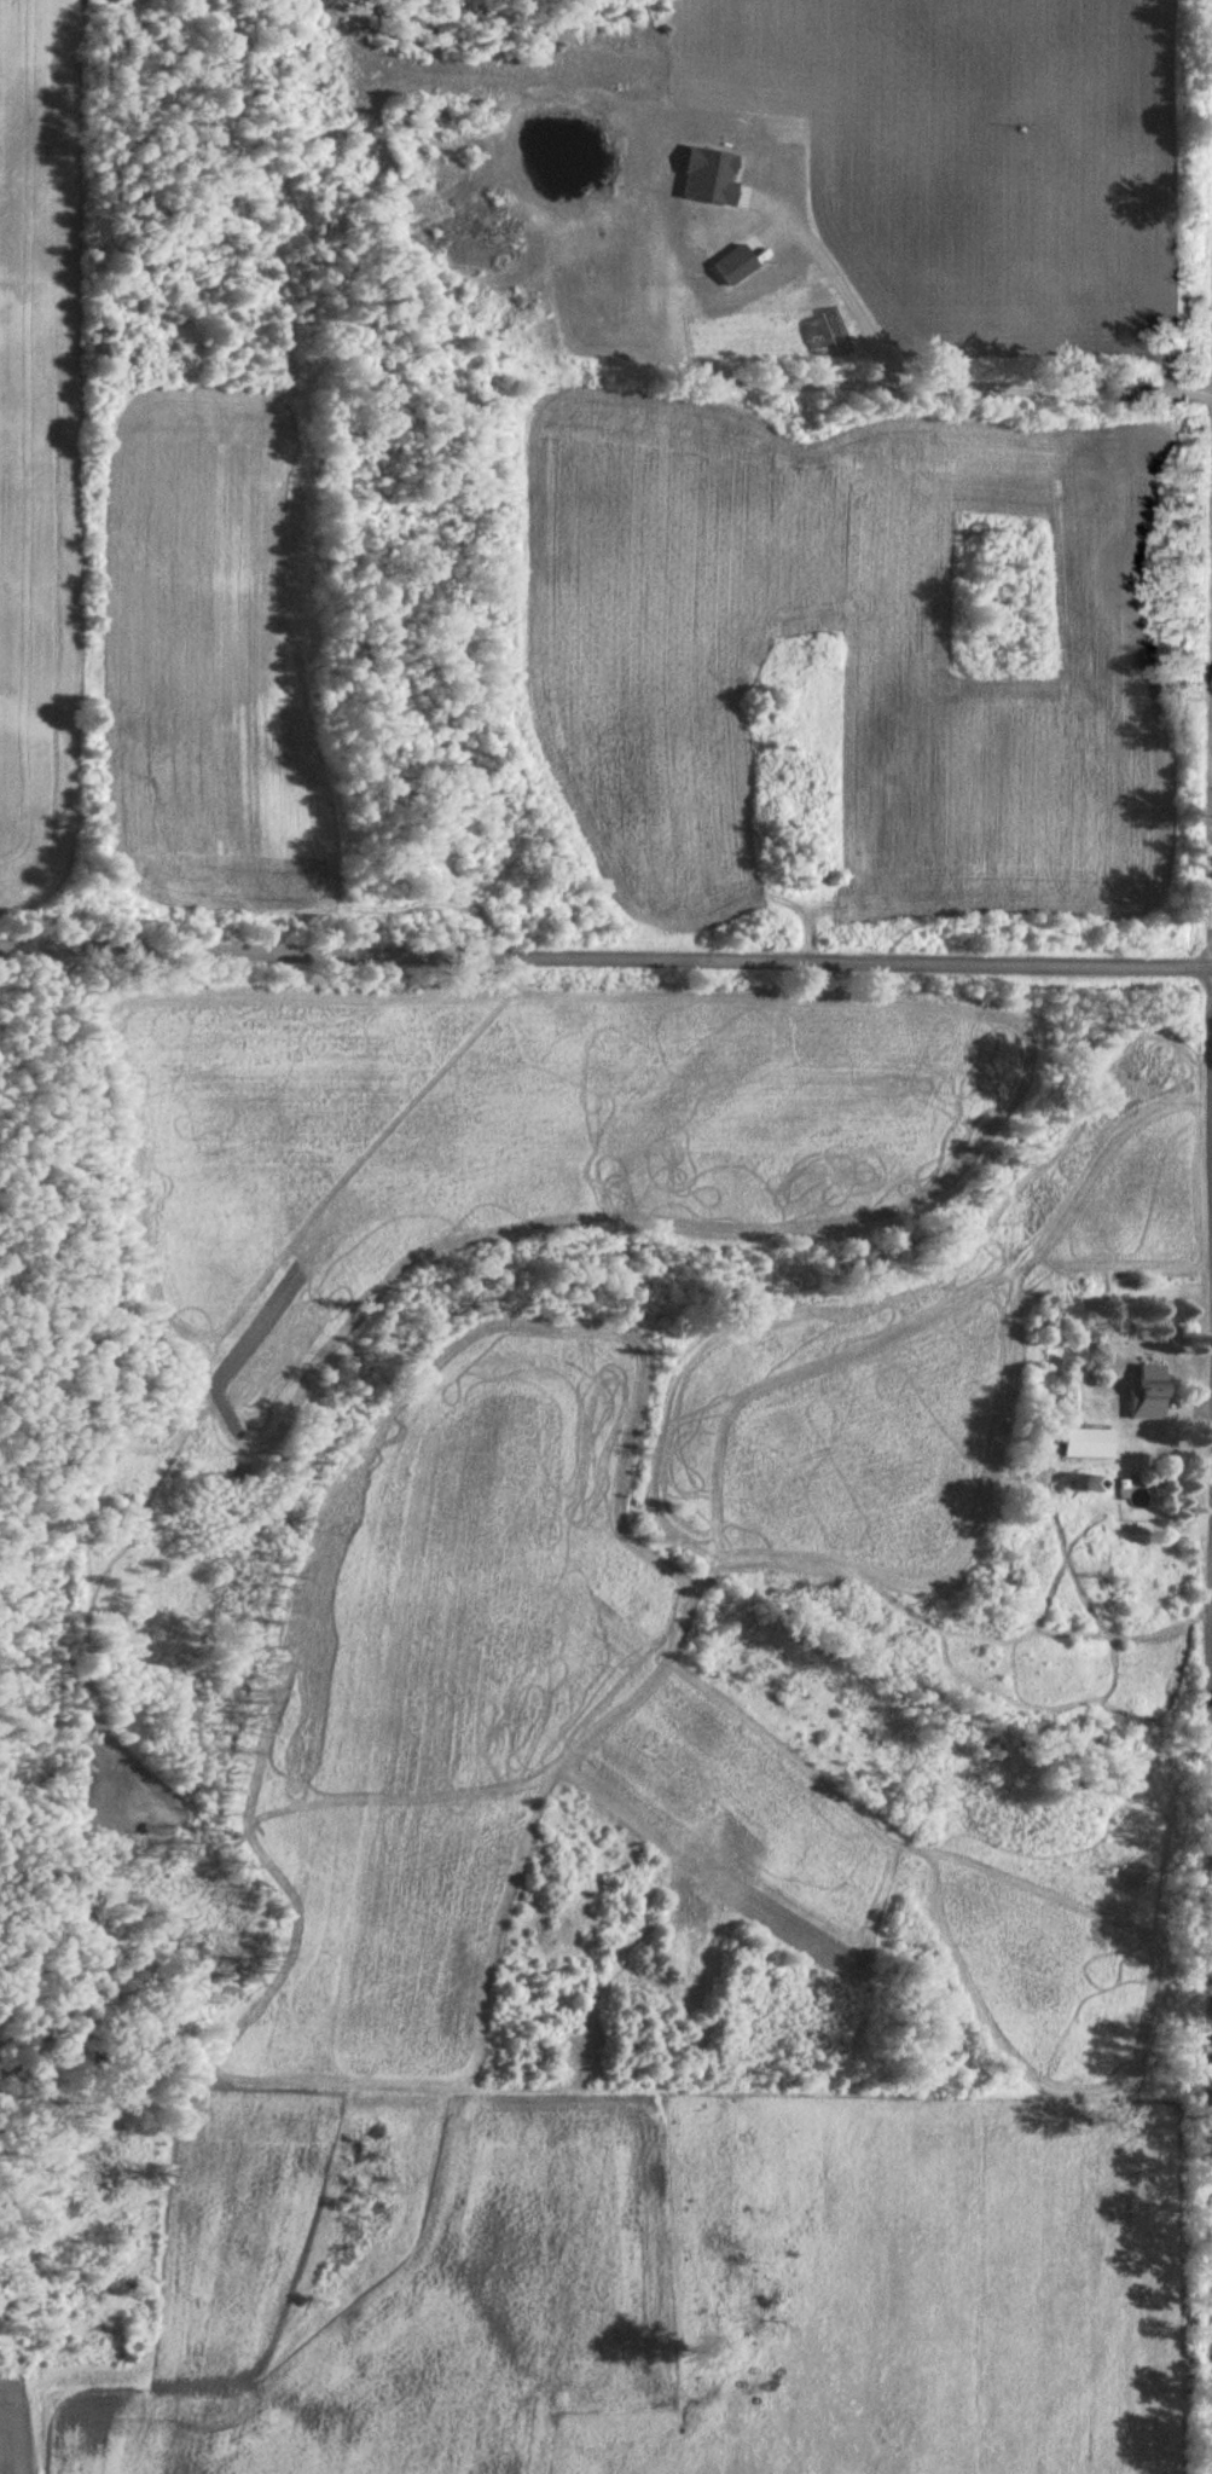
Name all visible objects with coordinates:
road: (824, 376)
road: (605, 950)
road: (1195, 1392)
building: (1086, 1442)

